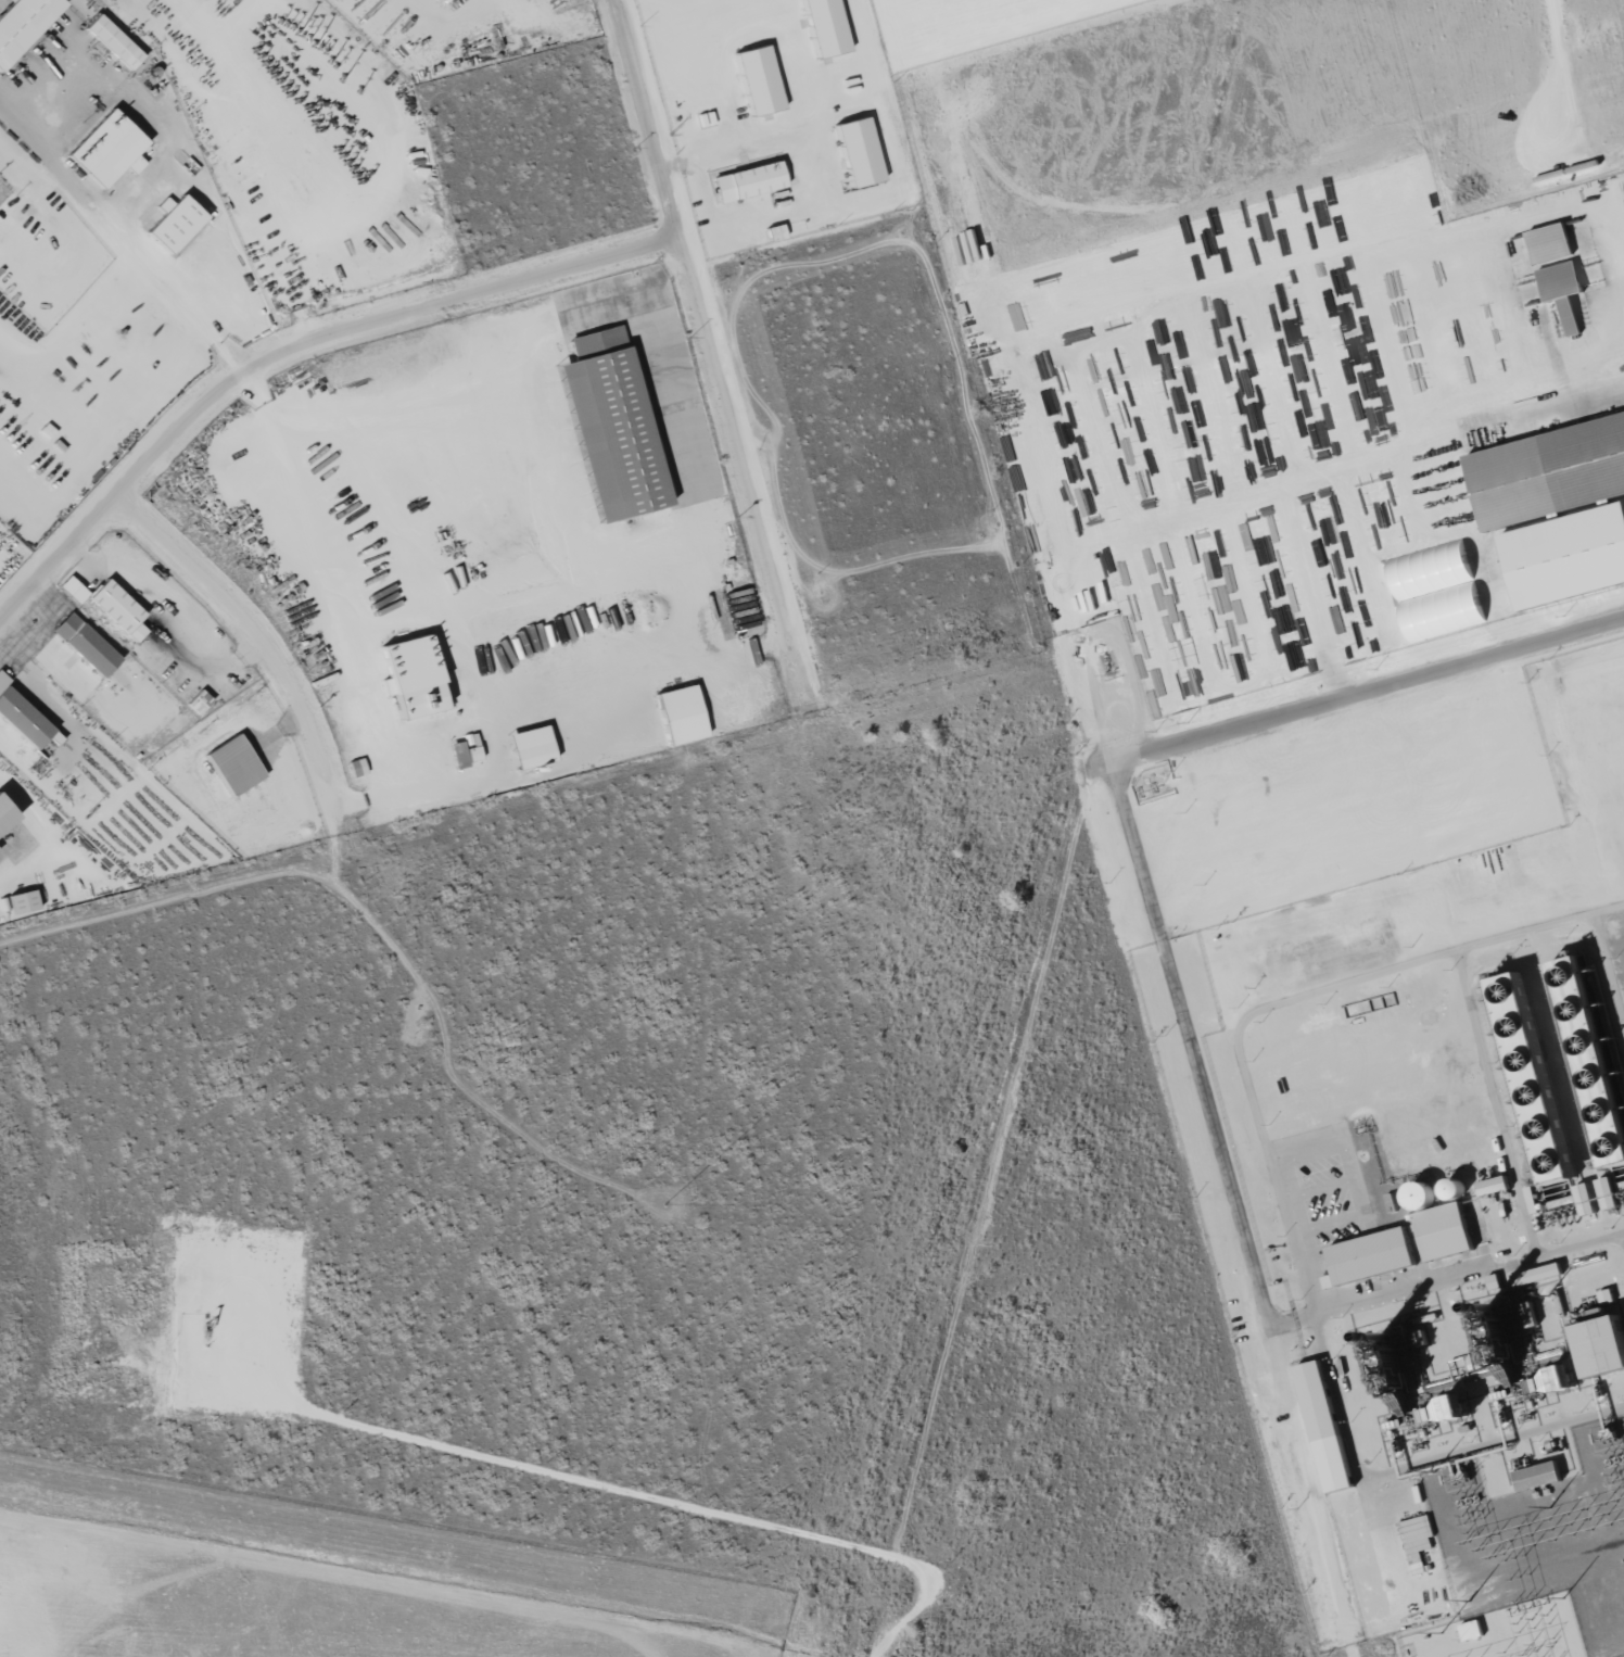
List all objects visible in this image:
building: (22, 23)
building: (825, 26)
building: (113, 41)
building: (758, 79)
building: (107, 149)
building: (858, 152)
building: (748, 181)
building: (175, 222)
road: (123, 241)
building: (1550, 242)
building: (1563, 291)
road: (293, 349)
road: (711, 353)
building: (611, 426)
building: (1557, 509)
building: (73, 590)
building: (1436, 590)
building: (117, 609)
road: (262, 640)
building: (85, 645)
building: (413, 676)
building: (198, 701)
building: (681, 714)
building: (21, 717)
building: (531, 747)
building: (462, 755)
building: (233, 766)
building: (356, 768)
building: (4, 815)
road: (1149, 897)
building: (22, 902)
building: (1591, 1057)
building: (1533, 1078)
building: (1495, 1185)
building: (1609, 1192)
building: (1421, 1194)
power plant: (1426, 1199)
building: (1444, 1232)
building: (1372, 1256)
building: (1537, 1274)
chimney: (1488, 1311)
chimney: (1384, 1339)
building: (1604, 1345)
building: (1560, 1380)
building: (1317, 1401)
building: (1457, 1407)
building: (1538, 1476)
building: (1417, 1540)
power plant: (326, 1583)
building: (1472, 1630)
power substation: (1500, 1632)

